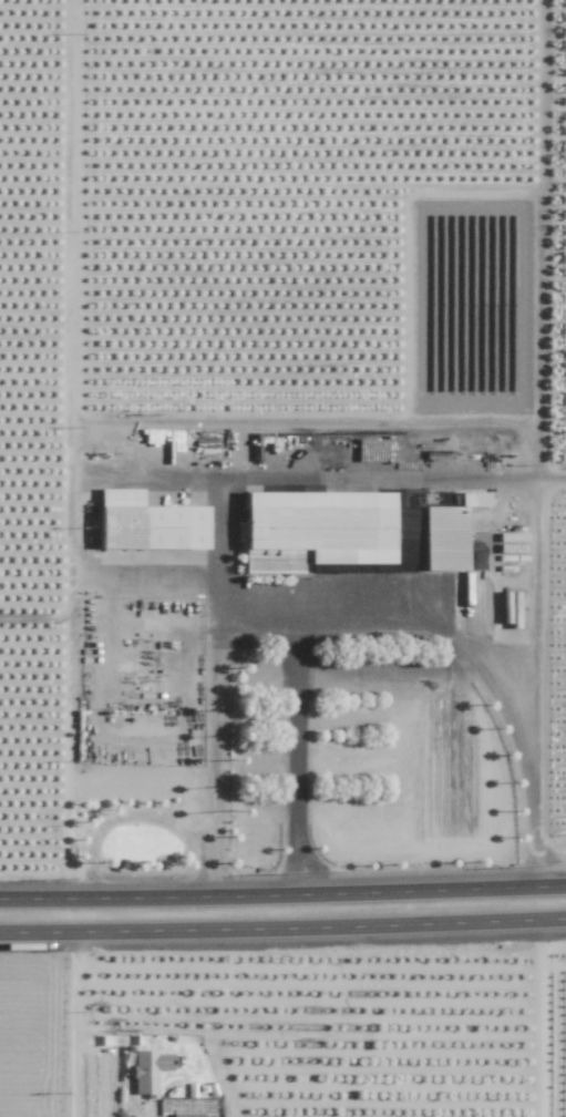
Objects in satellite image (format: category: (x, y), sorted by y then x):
road: (53, 449)
road: (398, 472)
road: (80, 517)
building: (146, 523)
building: (313, 530)
building: (446, 536)
road: (372, 612)
road: (532, 619)
road: (212, 716)
road: (116, 817)
road: (282, 895)
road: (282, 928)
road: (71, 1025)
building: (147, 1070)
building: (198, 1108)

